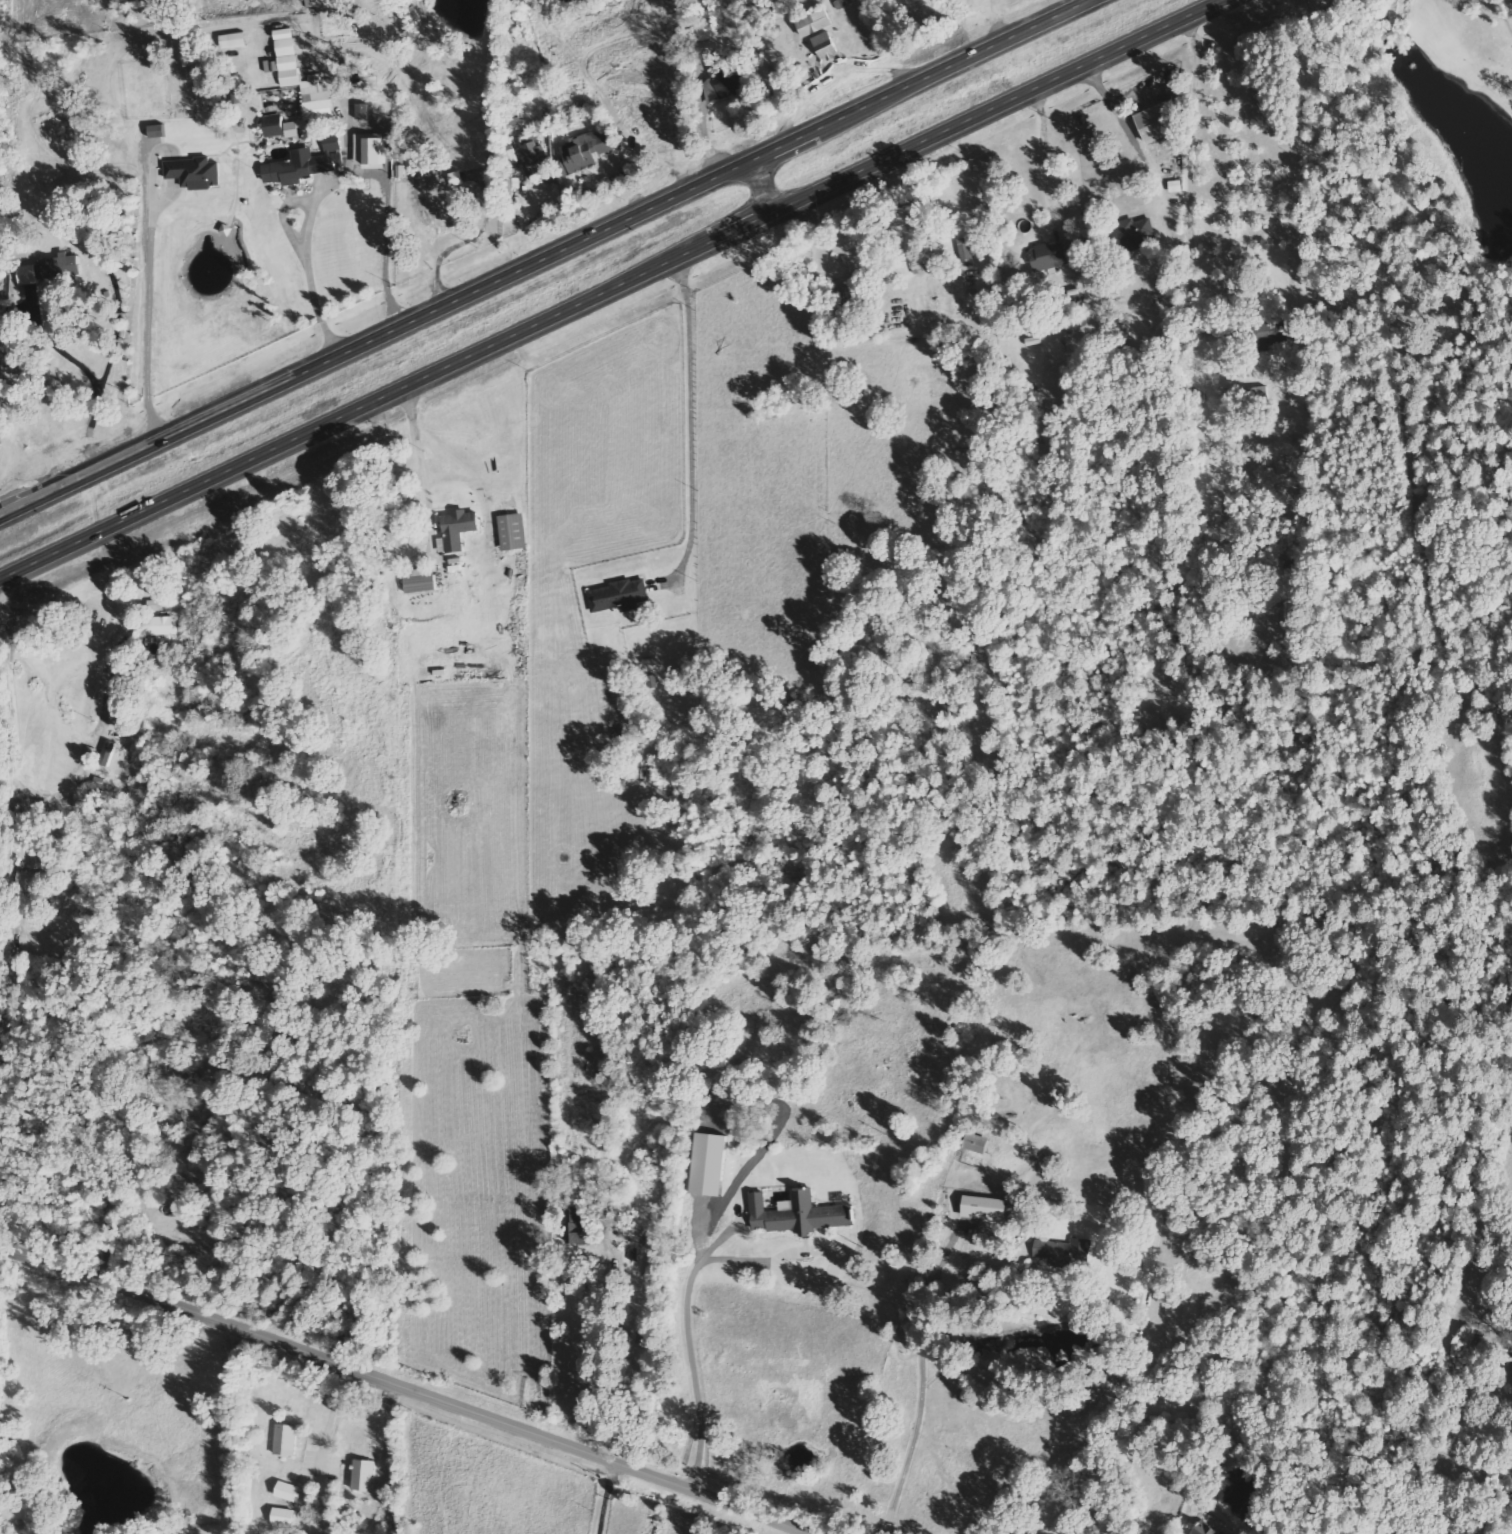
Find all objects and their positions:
building: (844, 2)
building: (816, 22)
building: (710, 28)
building: (829, 45)
building: (291, 73)
building: (724, 81)
building: (364, 110)
building: (1158, 121)
building: (275, 124)
building: (531, 138)
building: (371, 148)
building: (588, 151)
building: (538, 160)
building: (307, 162)
building: (194, 172)
building: (426, 172)
building: (1177, 185)
road: (764, 186)
building: (442, 198)
building: (912, 214)
building: (1138, 232)
building: (966, 249)
building: (1051, 256)
road: (543, 257)
building: (40, 270)
building: (846, 288)
road: (610, 289)
building: (1274, 331)
road: (685, 424)
building: (459, 529)
building: (514, 531)
building: (422, 580)
building: (621, 595)
building: (156, 605)
building: (162, 626)
building: (109, 753)
building: (28, 881)
building: (172, 1070)
building: (979, 1143)
building: (987, 1207)
building: (214, 1209)
building: (607, 1210)
building: (800, 1214)
building: (580, 1227)
building: (1066, 1252)
road: (923, 1376)
road: (402, 1388)
building: (286, 1440)
building: (365, 1475)
building: (289, 1491)
building: (284, 1516)
building: (1208, 1529)

